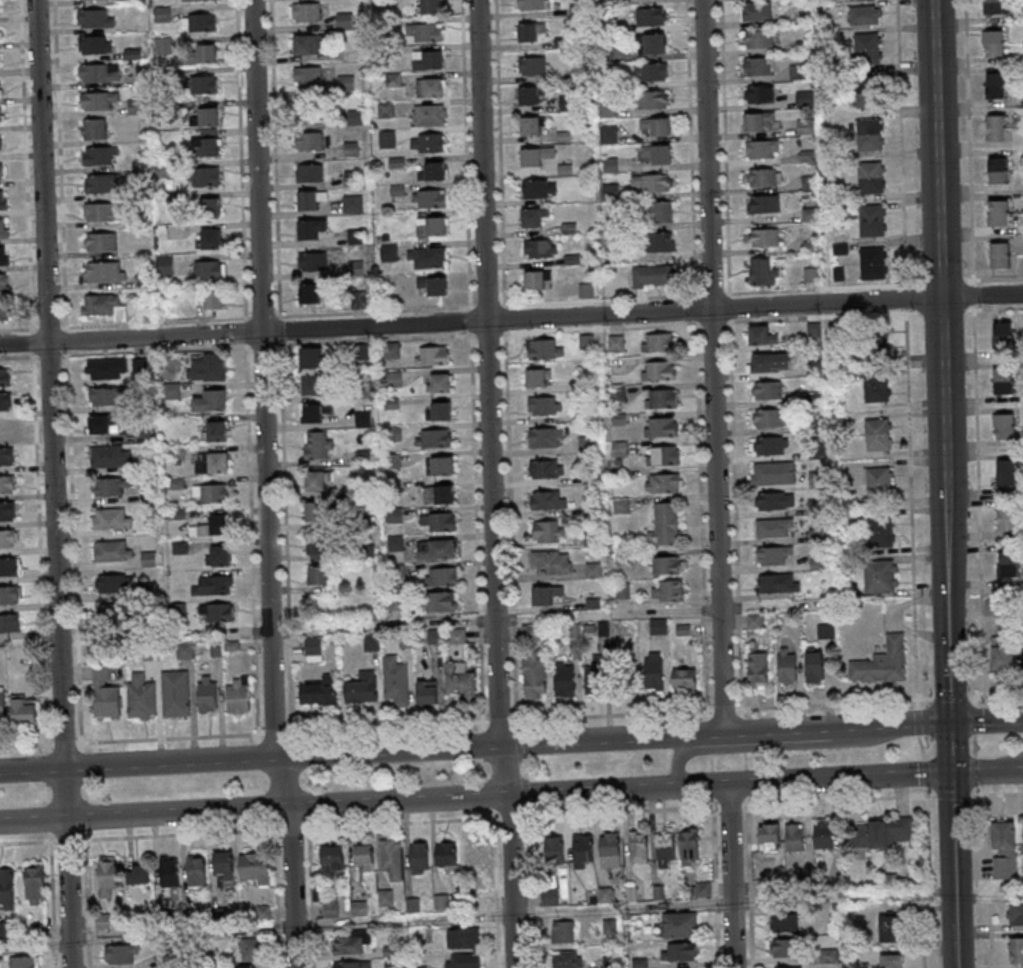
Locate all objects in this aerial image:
building: (199, 0)
building: (532, 4)
building: (430, 6)
building: (605, 7)
building: (994, 7)
building: (575, 9)
building: (757, 11)
building: (306, 13)
building: (162, 14)
building: (865, 16)
building: (651, 17)
building: (96, 18)
building: (344, 21)
building: (200, 23)
building: (424, 32)
building: (530, 32)
building: (0, 34)
building: (758, 39)
building: (993, 43)
building: (95, 44)
building: (163, 45)
building: (310, 45)
building: (651, 45)
building: (868, 48)
building: (201, 54)
building: (428, 59)
building: (531, 66)
building: (757, 67)
building: (100, 72)
building: (651, 73)
building: (798, 73)
building: (308, 77)
building: (203, 85)
building: (996, 86)
building: (430, 87)
building: (0, 89)
building: (868, 91)
building: (530, 95)
building: (761, 95)
building: (804, 99)
building: (98, 100)
building: (652, 101)
building: (136, 106)
building: (609, 109)
building: (311, 112)
building: (0, 115)
building: (430, 115)
building: (208, 117)
building: (759, 122)
building: (531, 126)
building: (657, 128)
building: (806, 128)
building: (997, 128)
building: (94, 129)
building: (609, 134)
building: (870, 134)
building: (388, 139)
building: (310, 141)
building: (428, 142)
road: (968, 142)
building: (1, 144)
building: (205, 147)
building: (761, 150)
building: (101, 155)
building: (535, 155)
building: (655, 155)
building: (998, 169)
building: (432, 171)
building: (309, 172)
building: (205, 176)
building: (871, 177)
building: (763, 178)
building: (103, 183)
building: (651, 184)
building: (539, 188)
building: (309, 199)
building: (432, 199)
building: (3, 200)
building: (352, 204)
building: (763, 205)
building: (210, 207)
building: (102, 211)
building: (659, 213)
building: (999, 213)
building: (534, 217)
building: (873, 220)
building: (431, 226)
building: (4, 228)
building: (310, 228)
building: (210, 238)
building: (764, 238)
building: (101, 242)
building: (660, 243)
building: (541, 248)
building: (4, 255)
building: (1000, 255)
building: (428, 257)
building: (312, 261)
building: (874, 262)
building: (165, 265)
building: (210, 269)
building: (104, 272)
building: (762, 272)
building: (653, 277)
building: (535, 280)
building: (5, 284)
building: (434, 284)
building: (587, 291)
building: (310, 293)
road: (973, 294)
building: (214, 299)
building: (105, 306)
building: (4, 310)
road: (511, 319)
building: (813, 331)
building: (1003, 335)
building: (762, 336)
building: (586, 342)
building: (659, 343)
building: (616, 344)
building: (878, 344)
building: (392, 350)
building: (544, 350)
building: (360, 352)
road: (907, 354)
building: (432, 355)
building: (311, 357)
road: (939, 362)
building: (772, 363)
building: (207, 366)
road: (712, 367)
building: (107, 369)
building: (658, 370)
building: (5, 377)
building: (538, 377)
building: (394, 379)
building: (1004, 381)
building: (438, 382)
building: (313, 384)
building: (877, 387)
building: (767, 391)
building: (104, 396)
building: (661, 398)
building: (6, 401)
building: (211, 401)
building: (545, 405)
building: (441, 410)
building: (314, 412)
building: (770, 419)
building: (362, 420)
building: (103, 424)
building: (661, 427)
building: (1005, 427)
building: (7, 428)
building: (215, 430)
building: (878, 434)
building: (544, 437)
building: (436, 438)
building: (588, 443)
building: (318, 445)
building: (770, 447)
building: (620, 448)
building: (110, 455)
building: (663, 455)
building: (7, 456)
building: (212, 462)
building: (442, 465)
building: (546, 469)
building: (1006, 473)
building: (774, 474)
building: (317, 481)
building: (664, 482)
building: (880, 482)
building: (7, 484)
road: (52, 484)
road: (267, 484)
road: (494, 484)
building: (111, 486)
building: (211, 493)
building: (439, 495)
building: (548, 499)
road: (979, 501)
building: (775, 502)
building: (8, 510)
building: (315, 511)
building: (111, 518)
building: (1007, 518)
building: (438, 523)
building: (665, 525)
building: (212, 527)
building: (773, 529)
building: (549, 531)
building: (882, 531)
building: (816, 536)
building: (7, 539)
building: (591, 540)
building: (395, 544)
building: (319, 545)
building: (113, 550)
building: (437, 551)
building: (219, 555)
building: (773, 556)
building: (148, 558)
building: (551, 562)
building: (1008, 563)
building: (666, 565)
building: (10, 567)
building: (593, 570)
building: (318, 574)
building: (881, 577)
building: (441, 578)
building: (114, 583)
building: (778, 584)
building: (214, 585)
building: (147, 588)
building: (668, 590)
building: (622, 591)
building: (10, 595)
building: (545, 595)
building: (439, 603)
building: (217, 612)
building: (116, 615)
road: (495, 620)
building: (755, 622)
building: (10, 623)
building: (659, 626)
building: (826, 632)
building: (434, 637)
building: (457, 637)
building: (371, 644)
building: (185, 651)
building: (1003, 654)
building: (1022, 658)
building: (882, 663)
building: (757, 666)
building: (787, 667)
building: (814, 667)
building: (649, 671)
building: (596, 676)
building: (534, 677)
building: (564, 678)
building: (684, 679)
building: (460, 681)
building: (396, 683)
building: (362, 688)
building: (319, 692)
building: (427, 693)
building: (176, 694)
building: (206, 694)
building: (104, 695)
road: (995, 695)
building: (238, 696)
building: (141, 697)
road: (974, 700)
building: (3, 706)
building: (24, 709)
road: (974, 719)
road: (918, 722)
road: (986, 722)
traffic signals: (950, 724)
road: (889, 726)
road: (777, 731)
road: (974, 745)
road: (684, 747)
road: (921, 748)
road: (950, 749)
road: (361, 751)
road: (924, 772)
road: (973, 772)
road: (987, 773)
traffic signals: (951, 774)
road: (838, 779)
road: (952, 794)
road: (996, 794)
road: (838, 799)
road: (363, 803)
road: (730, 805)
road: (622, 810)
road: (511, 815)
road: (401, 822)
road: (292, 827)
road: (180, 832)
building: (884, 833)
building: (823, 834)
building: (769, 838)
building: (794, 838)
road: (66, 839)
road: (26, 842)
building: (638, 848)
building: (554, 849)
building: (689, 849)
building: (583, 850)
building: (1004, 850)
building: (610, 851)
building: (664, 851)
building: (473, 853)
building: (446, 854)
building: (363, 858)
building: (419, 858)
building: (392, 860)
building: (332, 862)
building: (223, 865)
building: (255, 868)
building: (196, 870)
road: (953, 870)
building: (169, 872)
building: (138, 874)
building: (107, 875)
road: (731, 876)
road: (922, 876)
road: (750, 881)
road: (715, 882)
building: (34, 884)
road: (975, 884)
road: (531, 886)
road: (496, 887)
building: (7, 888)
building: (702, 889)
road: (276, 893)
road: (310, 894)
building: (605, 896)
building: (550, 897)
road: (88, 898)
building: (386, 899)
road: (51, 901)
road: (667, 906)
building: (330, 908)
building: (358, 909)
building: (264, 913)
building: (1015, 915)
building: (102, 921)
building: (784, 922)
building: (679, 925)
building: (890, 926)
building: (1, 932)
building: (36, 932)
building: (563, 932)
building: (464, 937)
building: (352, 943)
building: (785, 947)
building: (252, 950)
building: (391, 951)
building: (1016, 951)
building: (679, 952)
building: (120, 953)
building: (568, 959)
building: (463, 960)
building: (893, 961)
building: (23, 962)
building: (352, 964)
building: (247, 967)
building: (786, 967)

